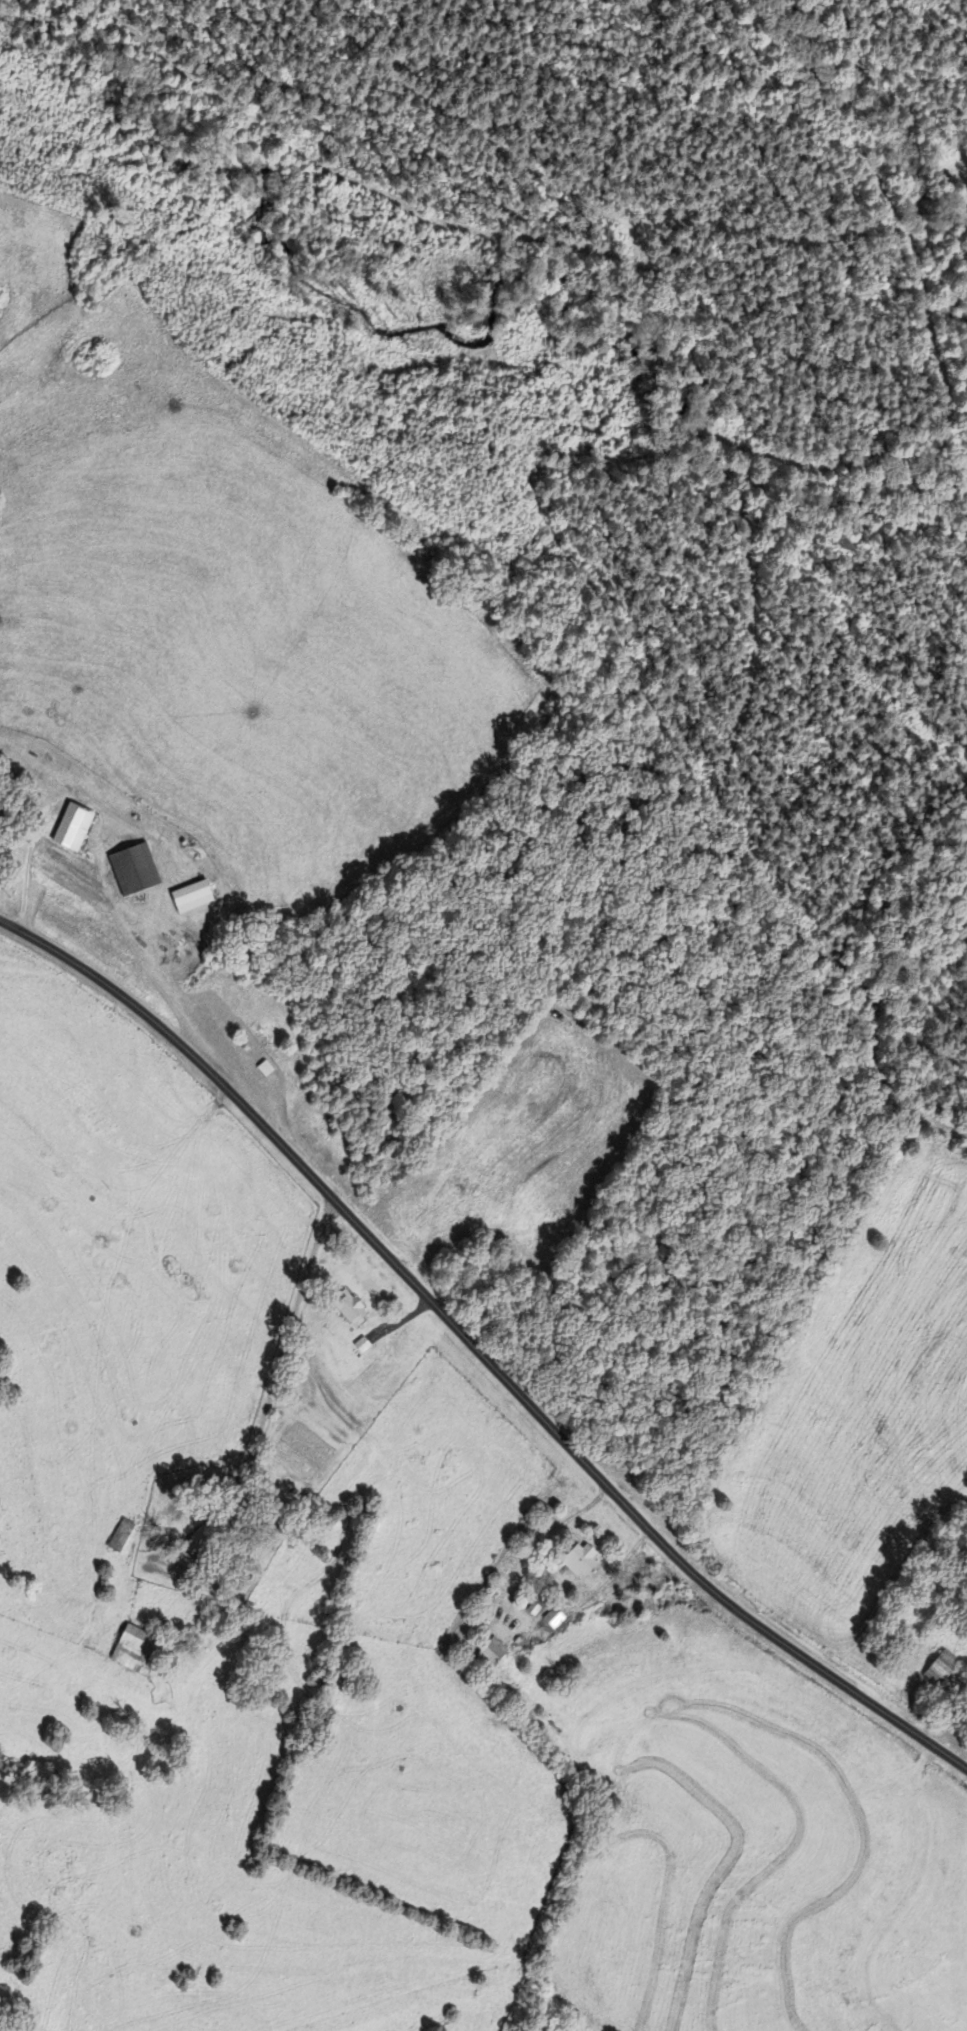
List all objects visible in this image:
building: (71, 826)
building: (132, 868)
building: (189, 896)
building: (262, 1040)
building: (263, 1069)
building: (347, 1305)
road: (289, 1332)
road: (477, 1349)
building: (121, 1534)
building: (204, 1536)
building: (580, 1560)
building: (553, 1617)
building: (134, 1646)
building: (490, 1651)
building: (940, 1667)

